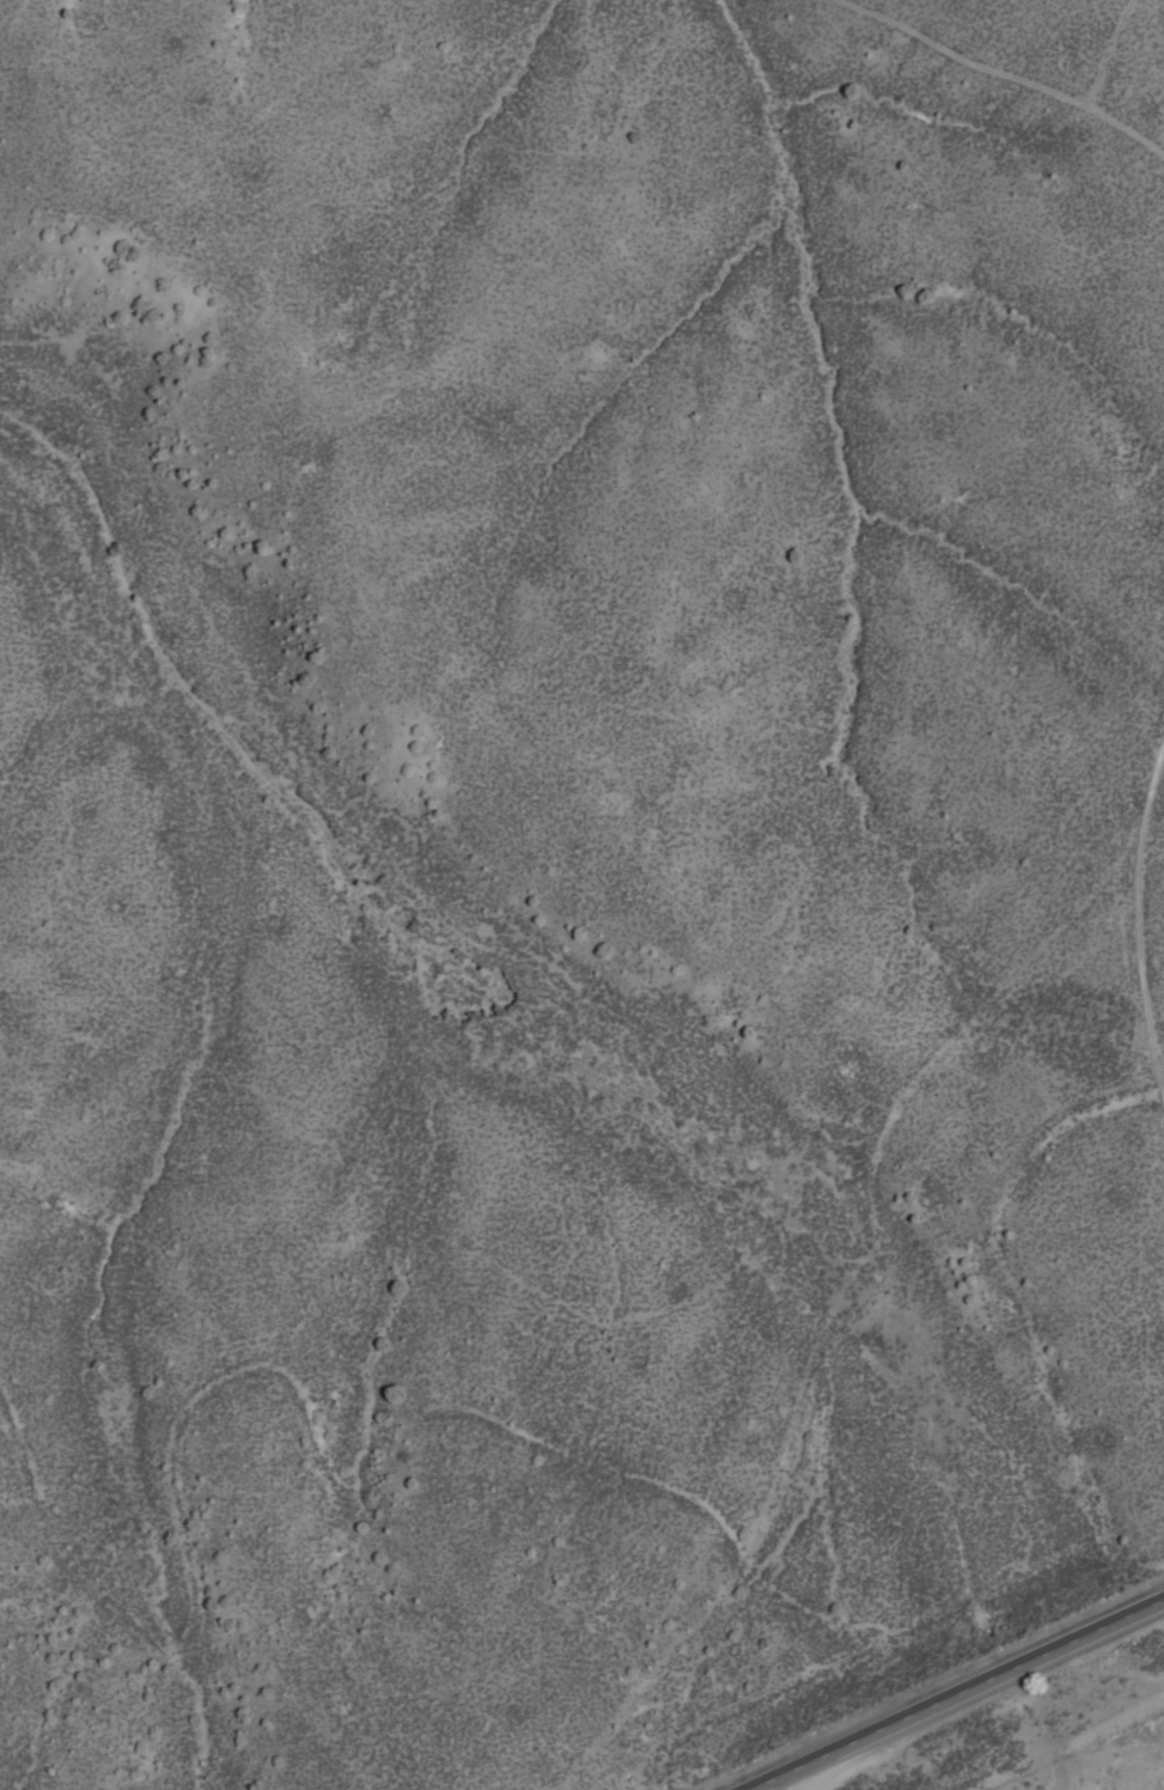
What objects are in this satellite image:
road: (1139, 903)
road: (952, 1692)
road: (799, 1776)

